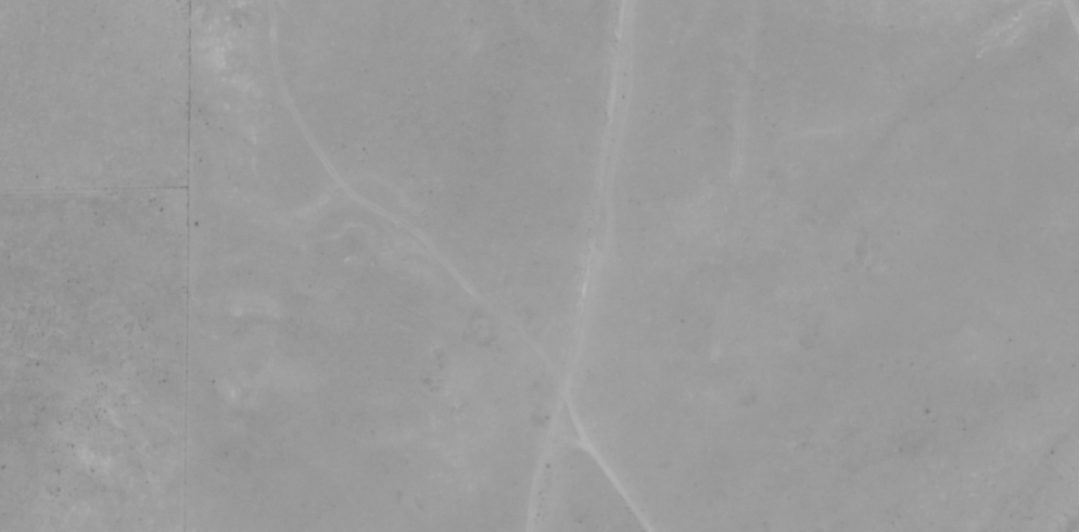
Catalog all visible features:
road: (1071, 18)
road: (584, 265)

